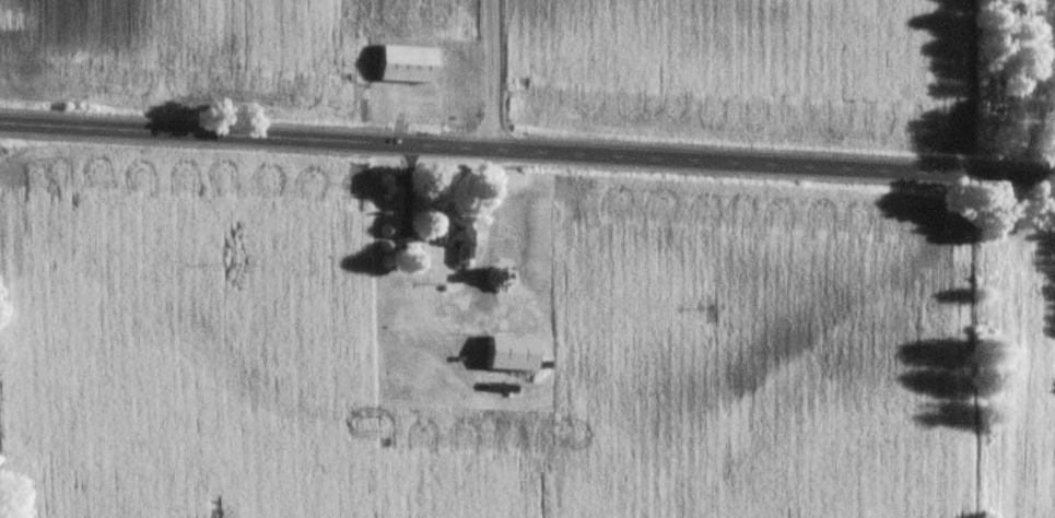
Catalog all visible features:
building: (403, 64)
road: (492, 75)
road: (527, 152)
building: (454, 235)
building: (405, 247)
building: (508, 354)

